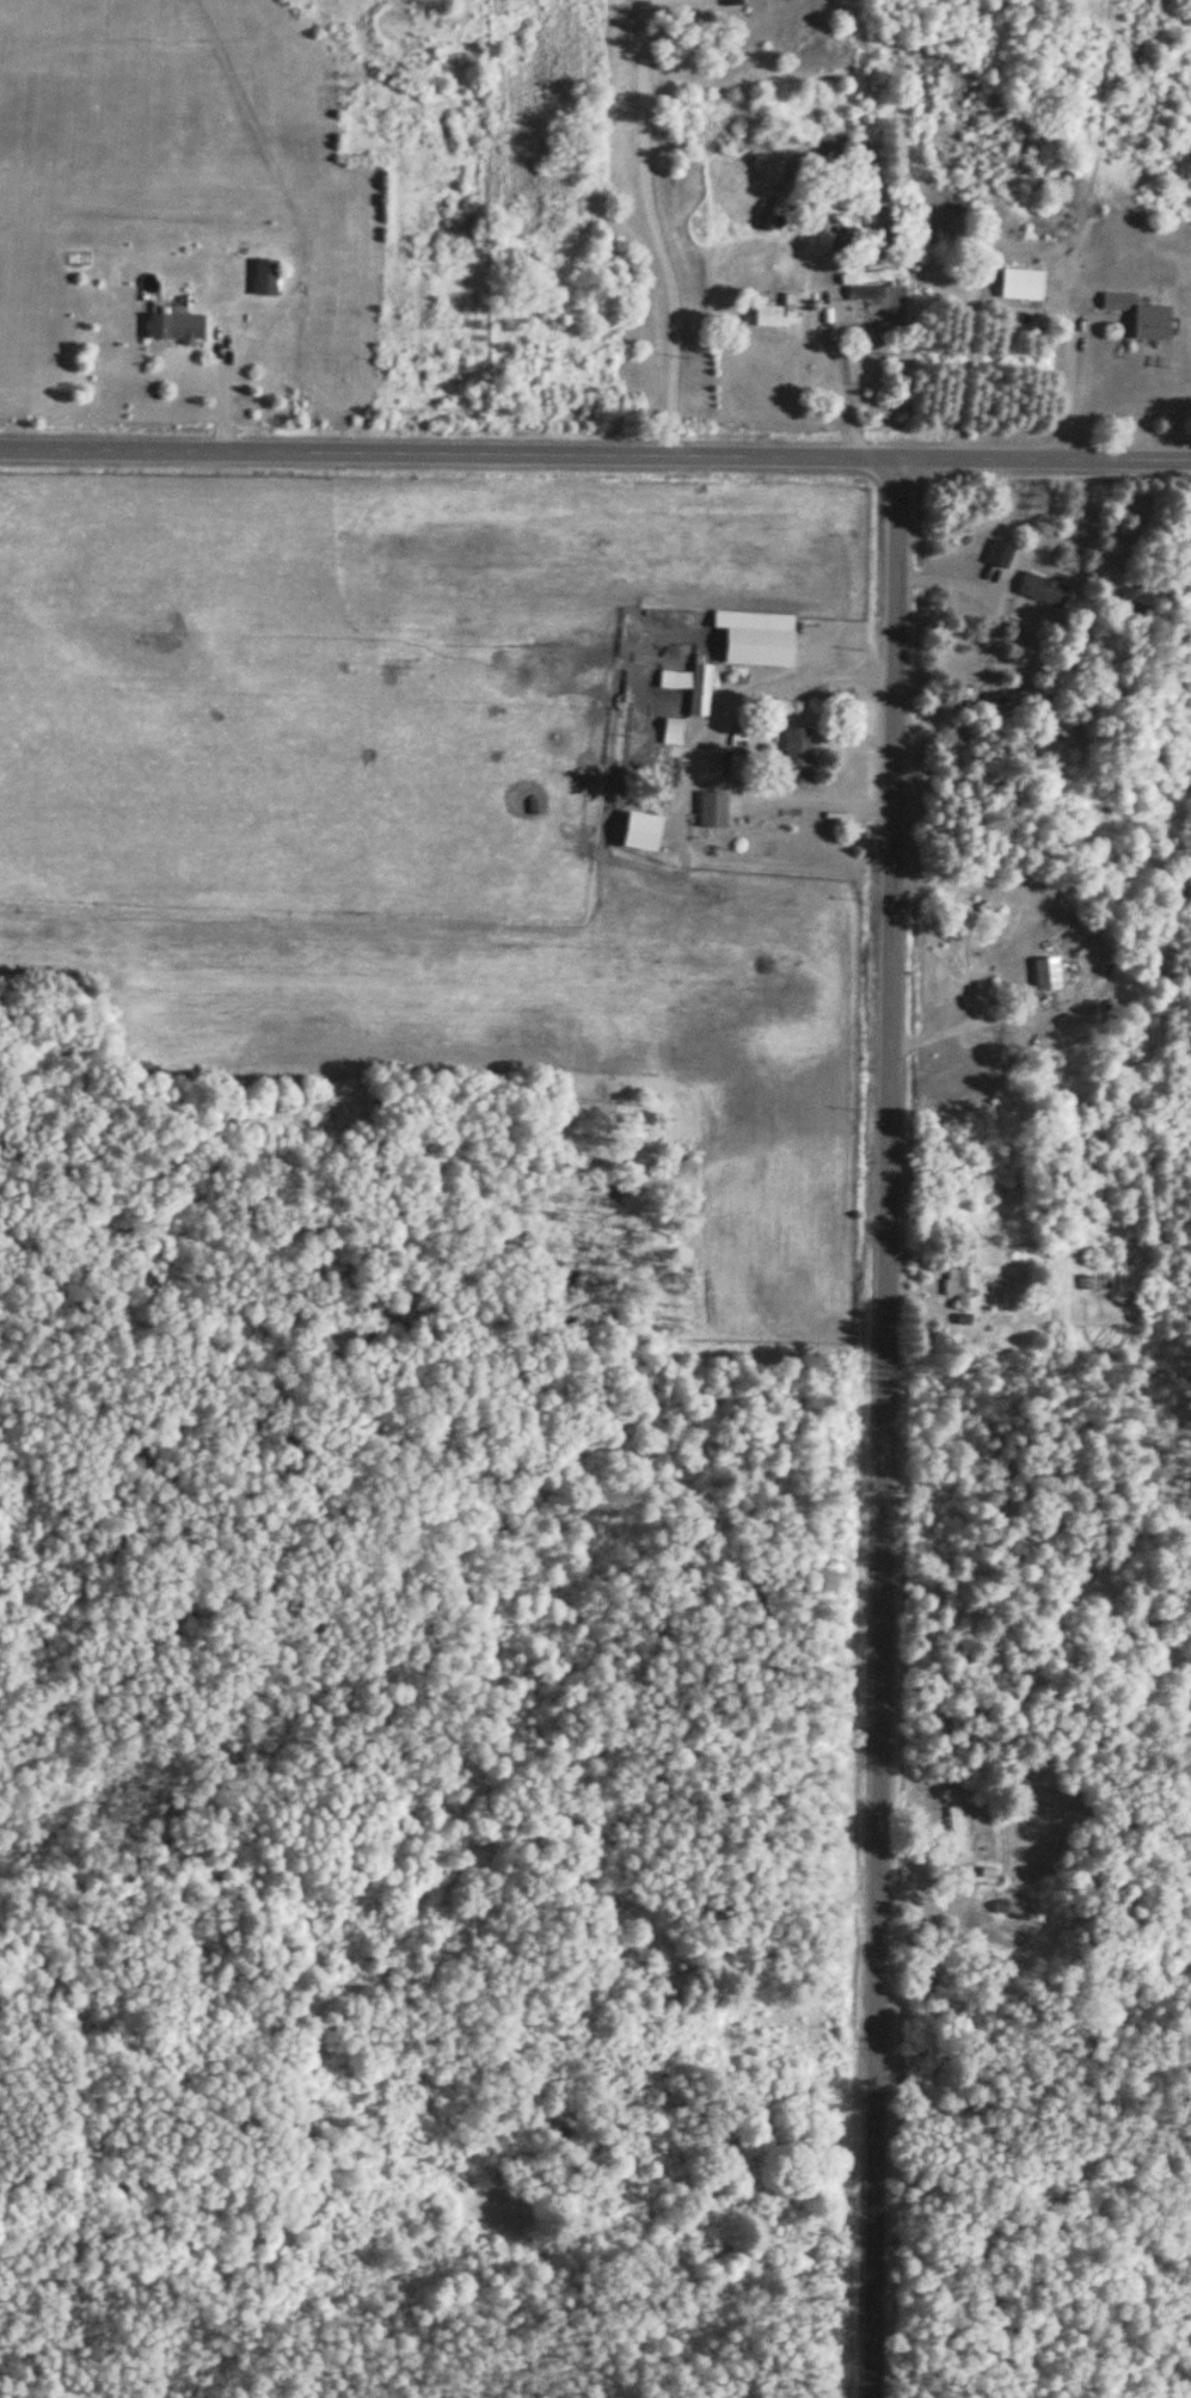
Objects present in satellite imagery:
road: (647, 228)
building: (264, 277)
building: (864, 278)
building: (1021, 284)
building: (779, 313)
building: (1138, 316)
building: (173, 324)
road: (965, 368)
road: (1068, 379)
road: (595, 455)
building: (1000, 554)
building: (1042, 590)
building: (754, 638)
building: (689, 685)
building: (1058, 720)
building: (671, 732)
building: (797, 757)
building: (733, 768)
building: (713, 811)
building: (639, 832)
building: (1045, 974)
building: (957, 1285)
road: (883, 1428)
building: (954, 1831)

